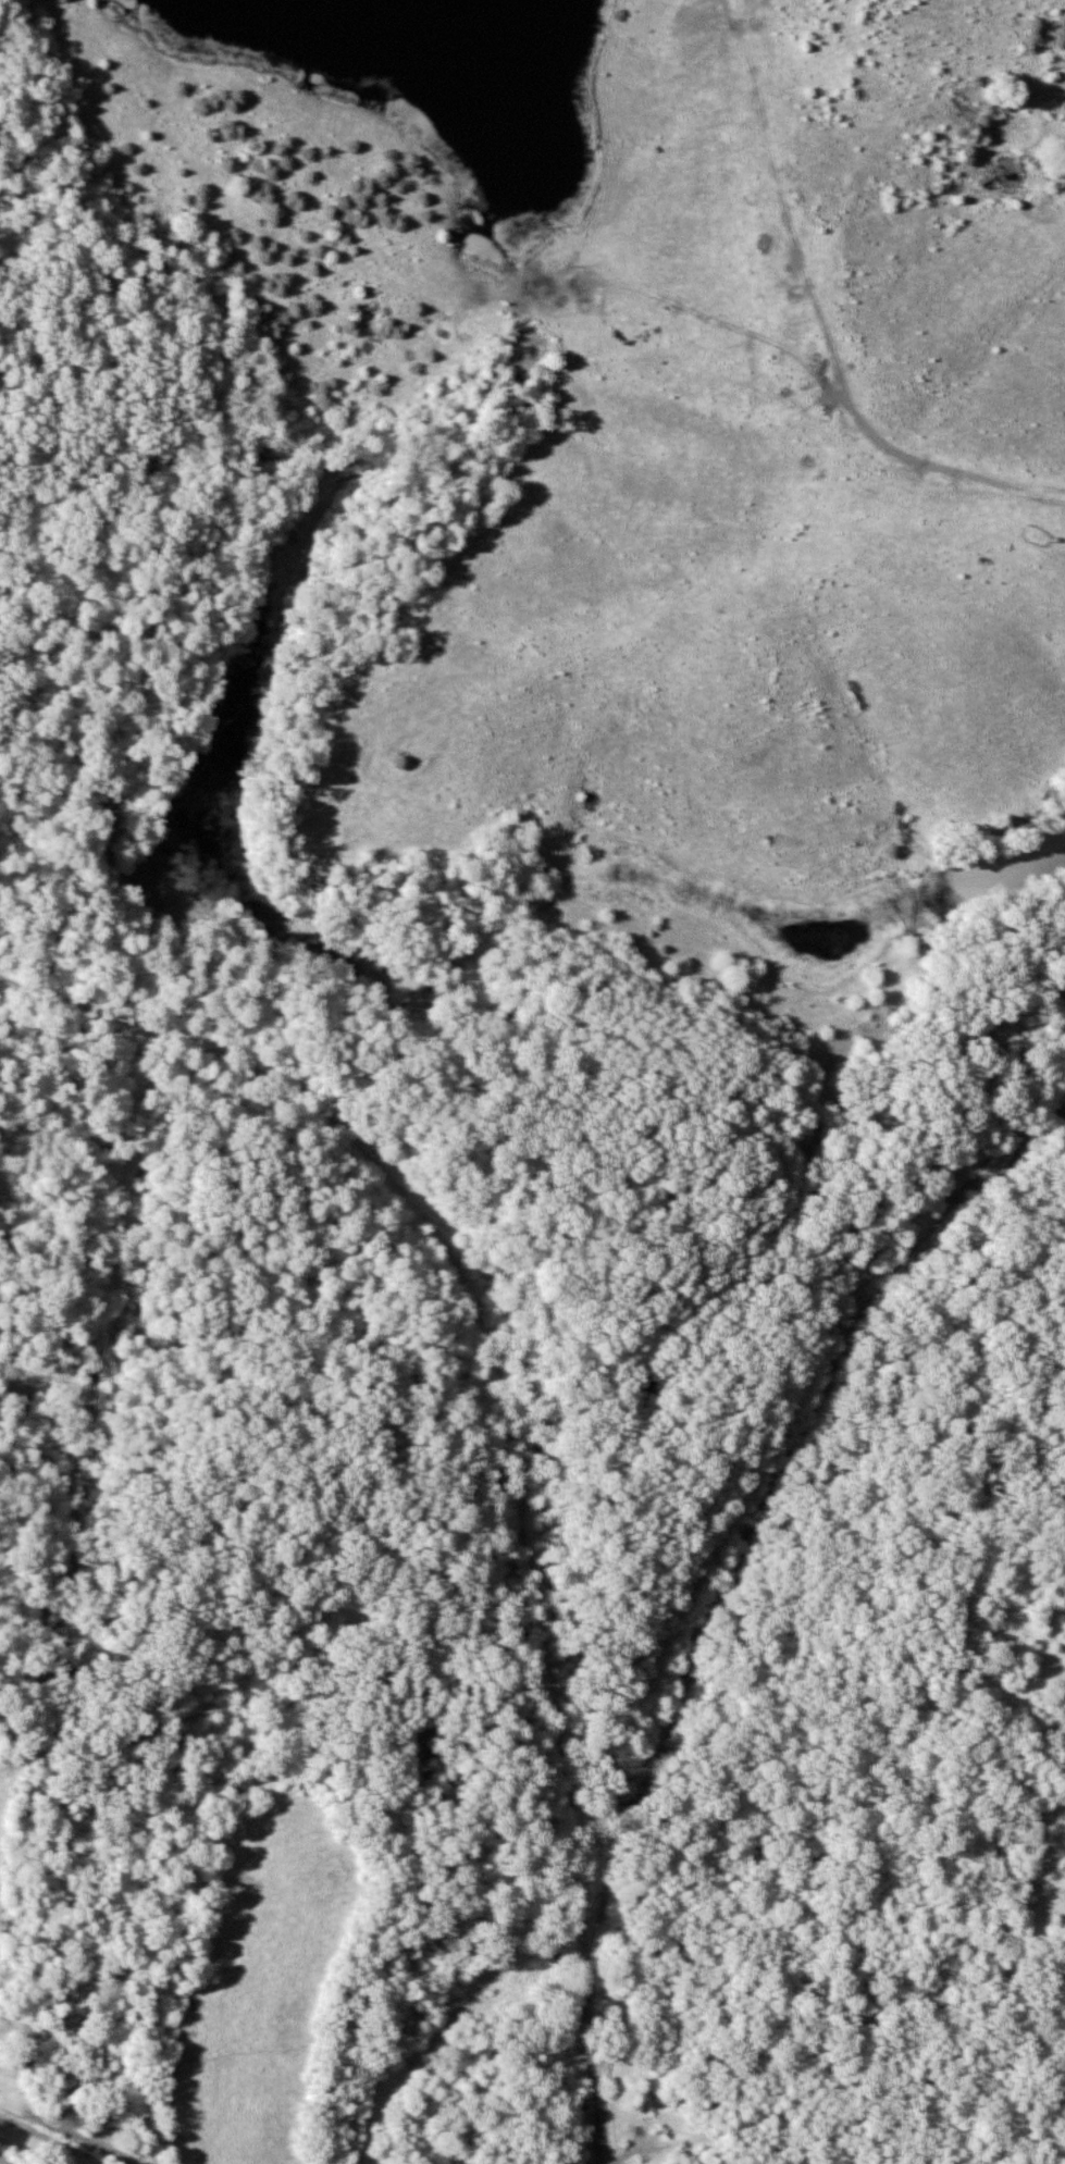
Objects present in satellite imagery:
road: (42, 2143)

